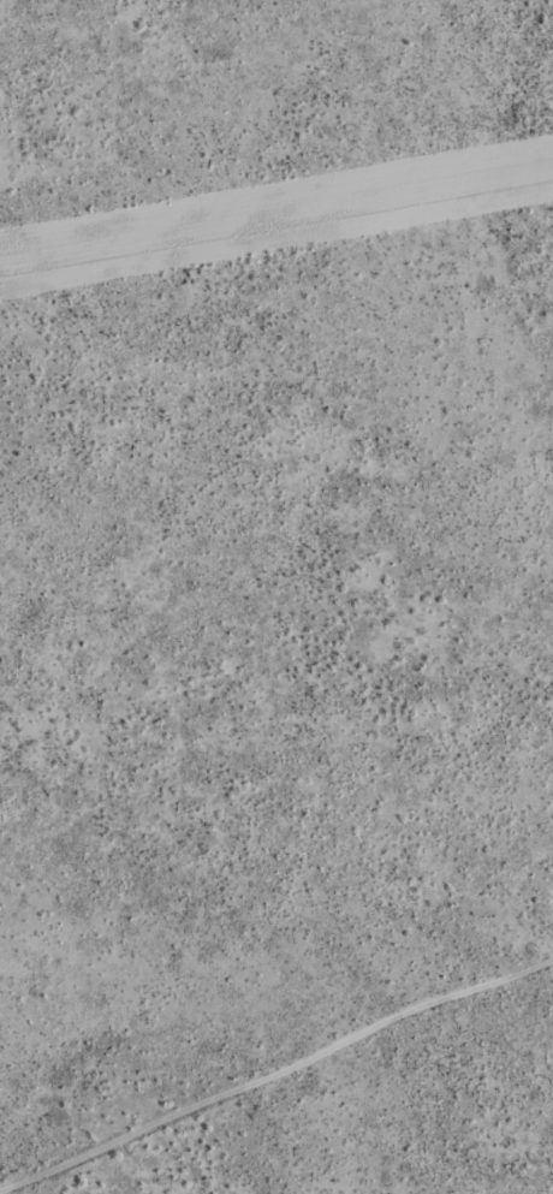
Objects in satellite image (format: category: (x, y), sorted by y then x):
road: (274, 1038)

